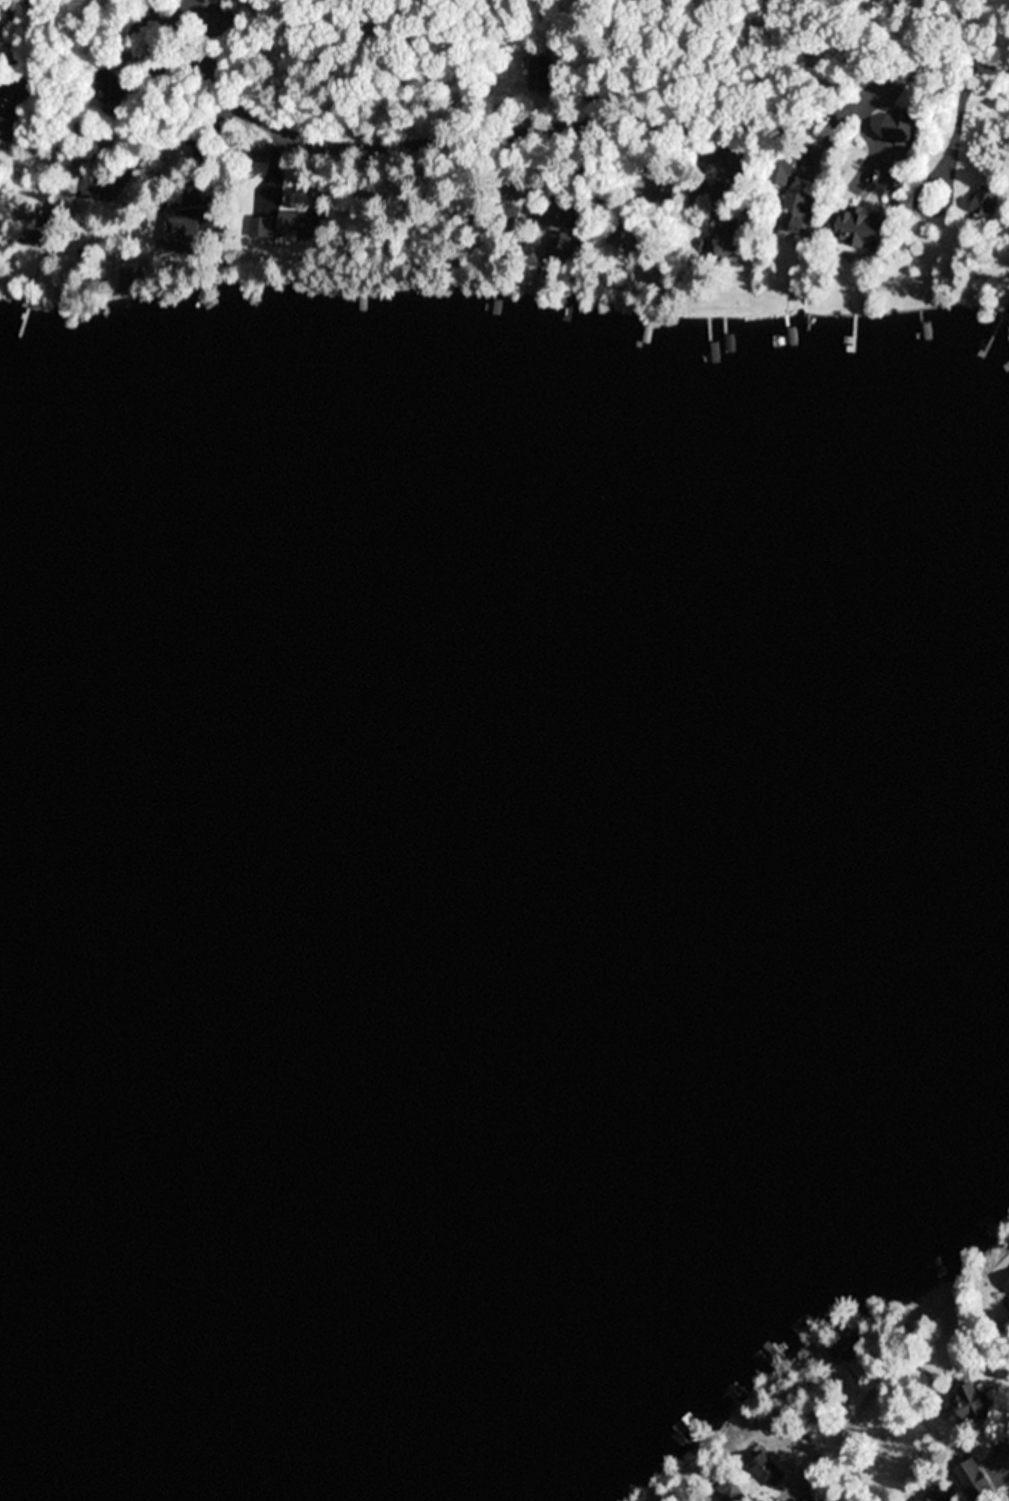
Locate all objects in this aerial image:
building: (215, 1)
road: (33, 31)
building: (543, 73)
building: (116, 87)
building: (598, 91)
building: (14, 110)
building: (902, 125)
road: (554, 140)
building: (260, 152)
building: (106, 154)
building: (716, 159)
building: (748, 160)
building: (82, 165)
building: (783, 166)
building: (668, 184)
building: (985, 201)
building: (553, 208)
building: (726, 208)
building: (799, 212)
building: (865, 224)
building: (46, 226)
building: (193, 226)
building: (295, 226)
building: (636, 240)
building: (731, 244)
building: (561, 246)
building: (131, 280)
building: (1008, 304)
building: (1008, 1288)
building: (852, 1346)
building: (975, 1400)
building: (771, 1418)
road: (966, 1437)
road: (1008, 1456)
building: (769, 1470)
building: (980, 1477)
road: (813, 1489)
building: (732, 1491)
building: (942, 1494)

